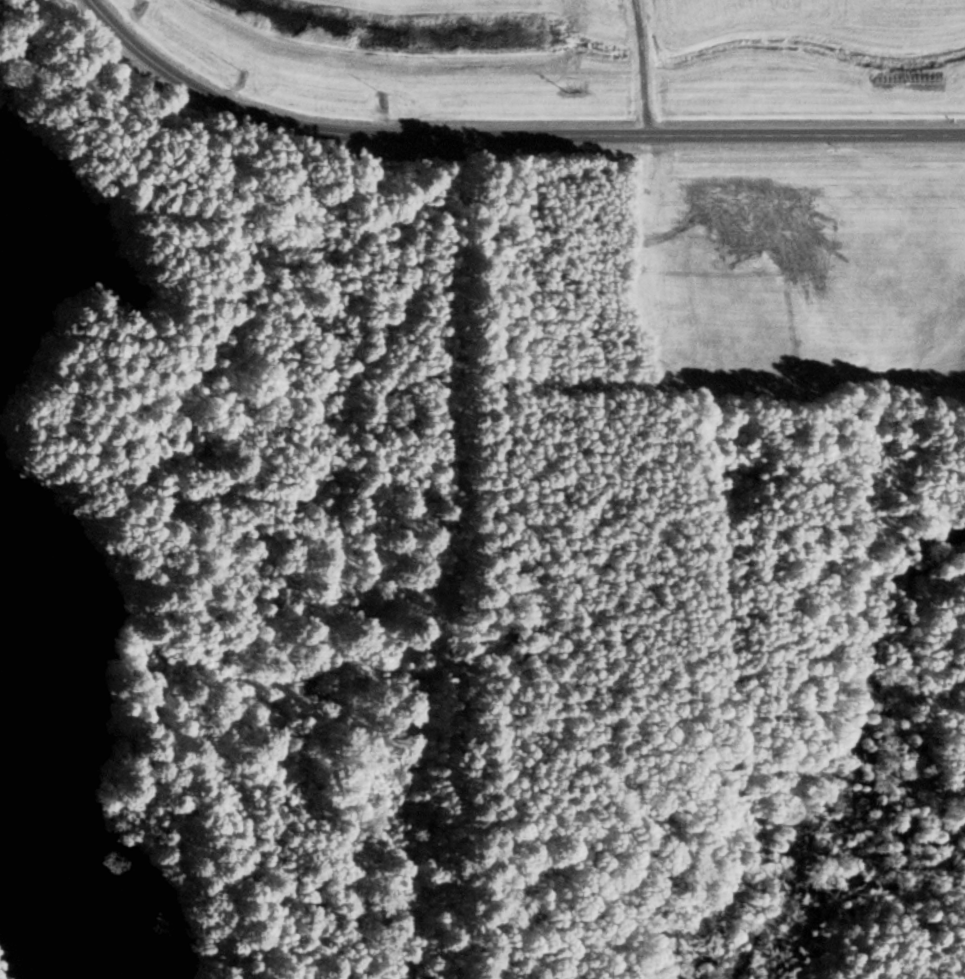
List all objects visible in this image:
airport: (584, 48)
road: (641, 67)
road: (505, 135)

